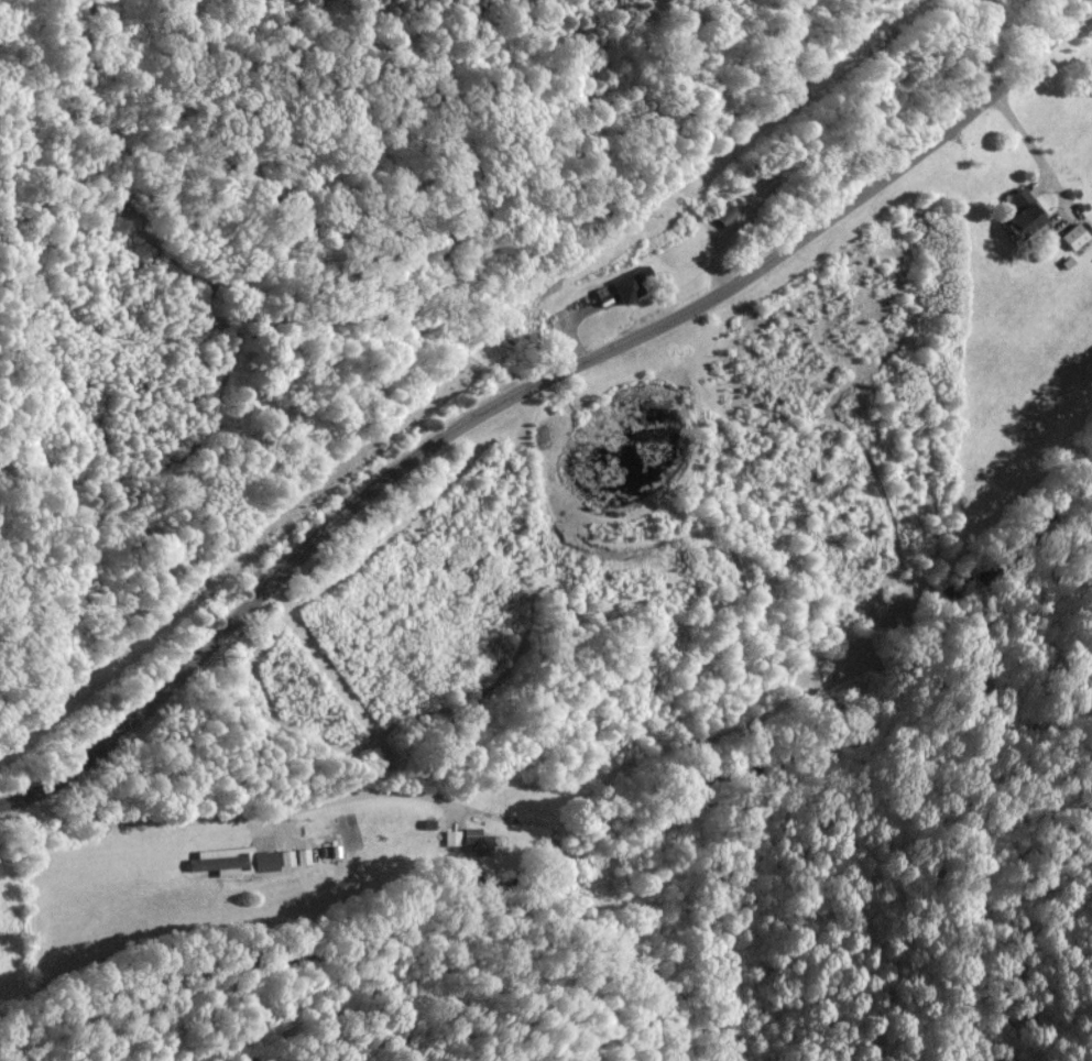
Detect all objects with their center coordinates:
building: (730, 210)
building: (1027, 218)
building: (1074, 236)
building: (633, 284)
road: (531, 385)
road: (320, 800)
building: (346, 835)
building: (469, 841)
building: (234, 861)
road: (589, 897)

